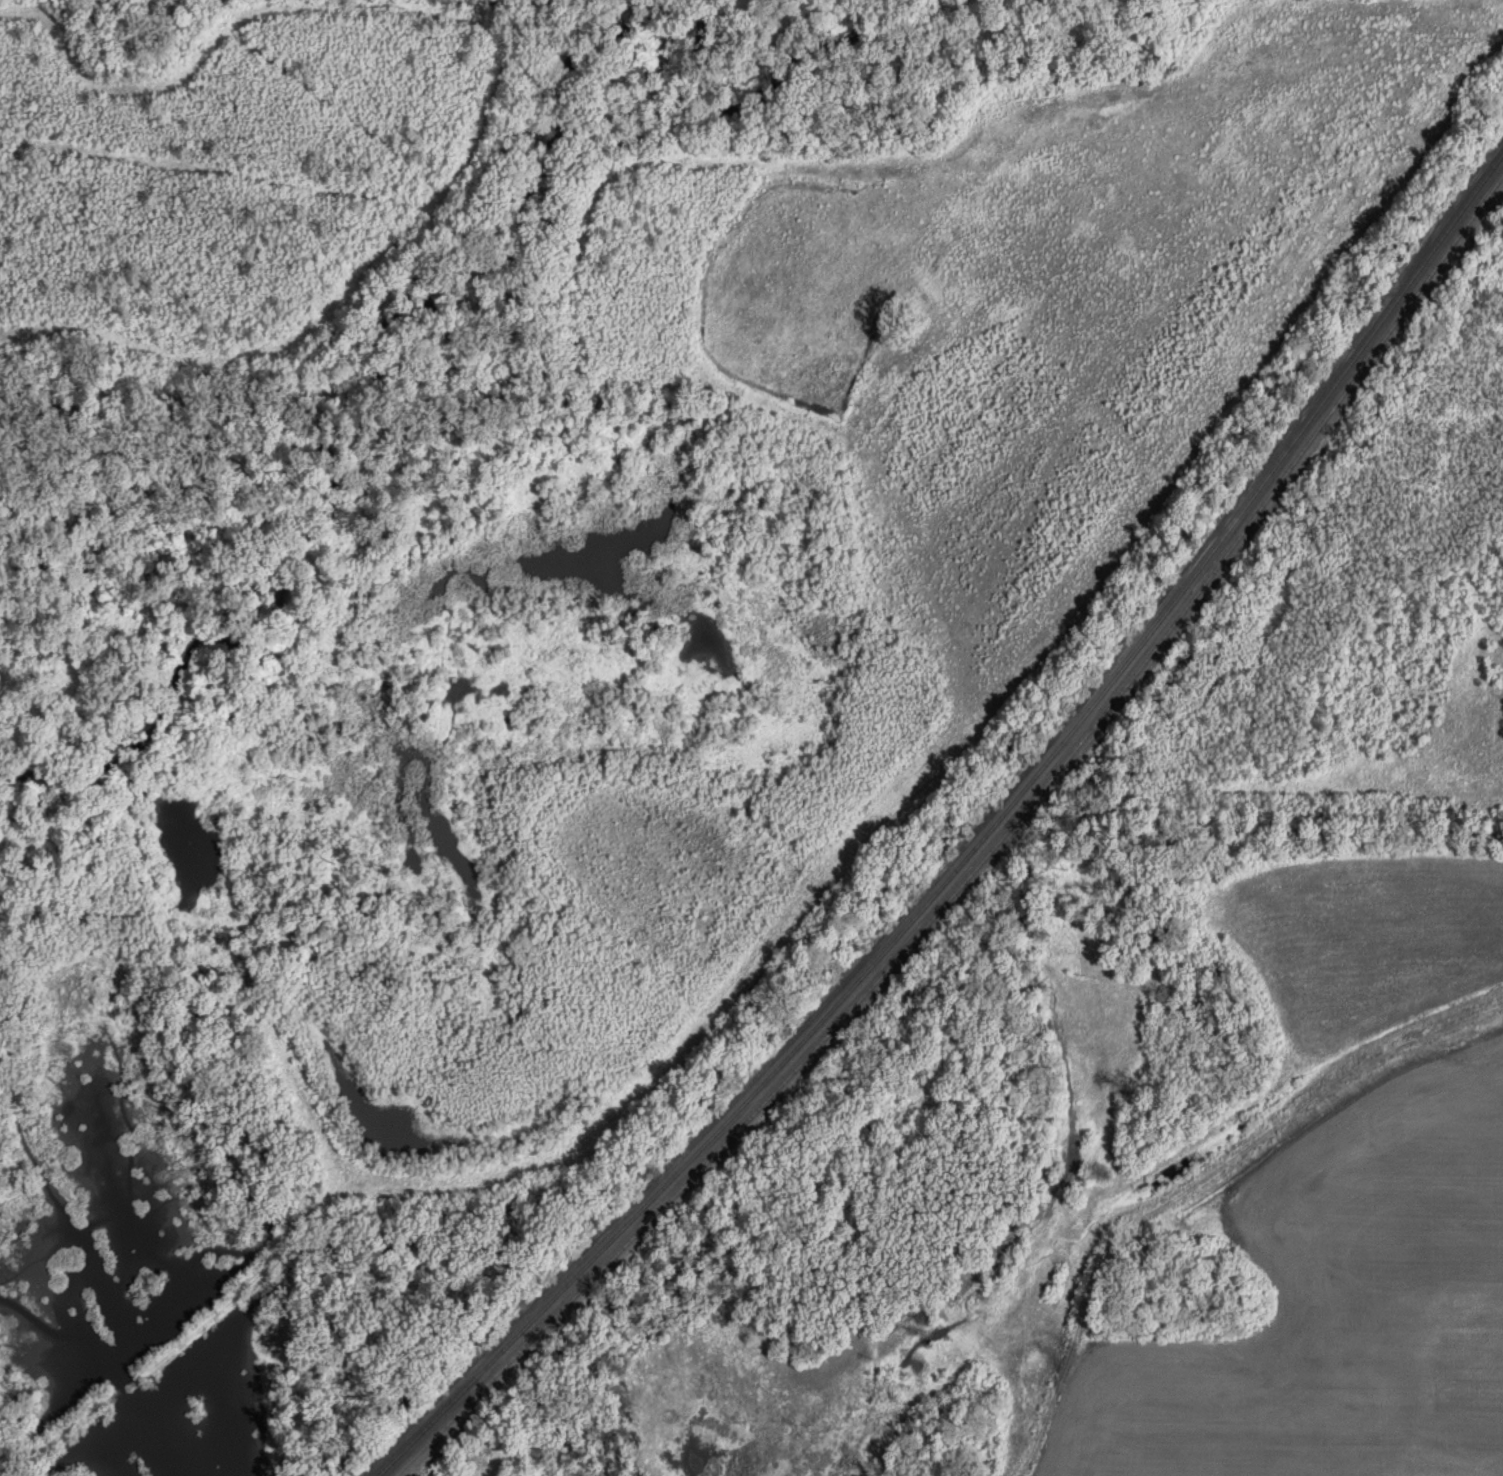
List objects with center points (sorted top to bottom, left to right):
railway: (976, 845)
railway: (984, 855)
park: (493, 1452)

